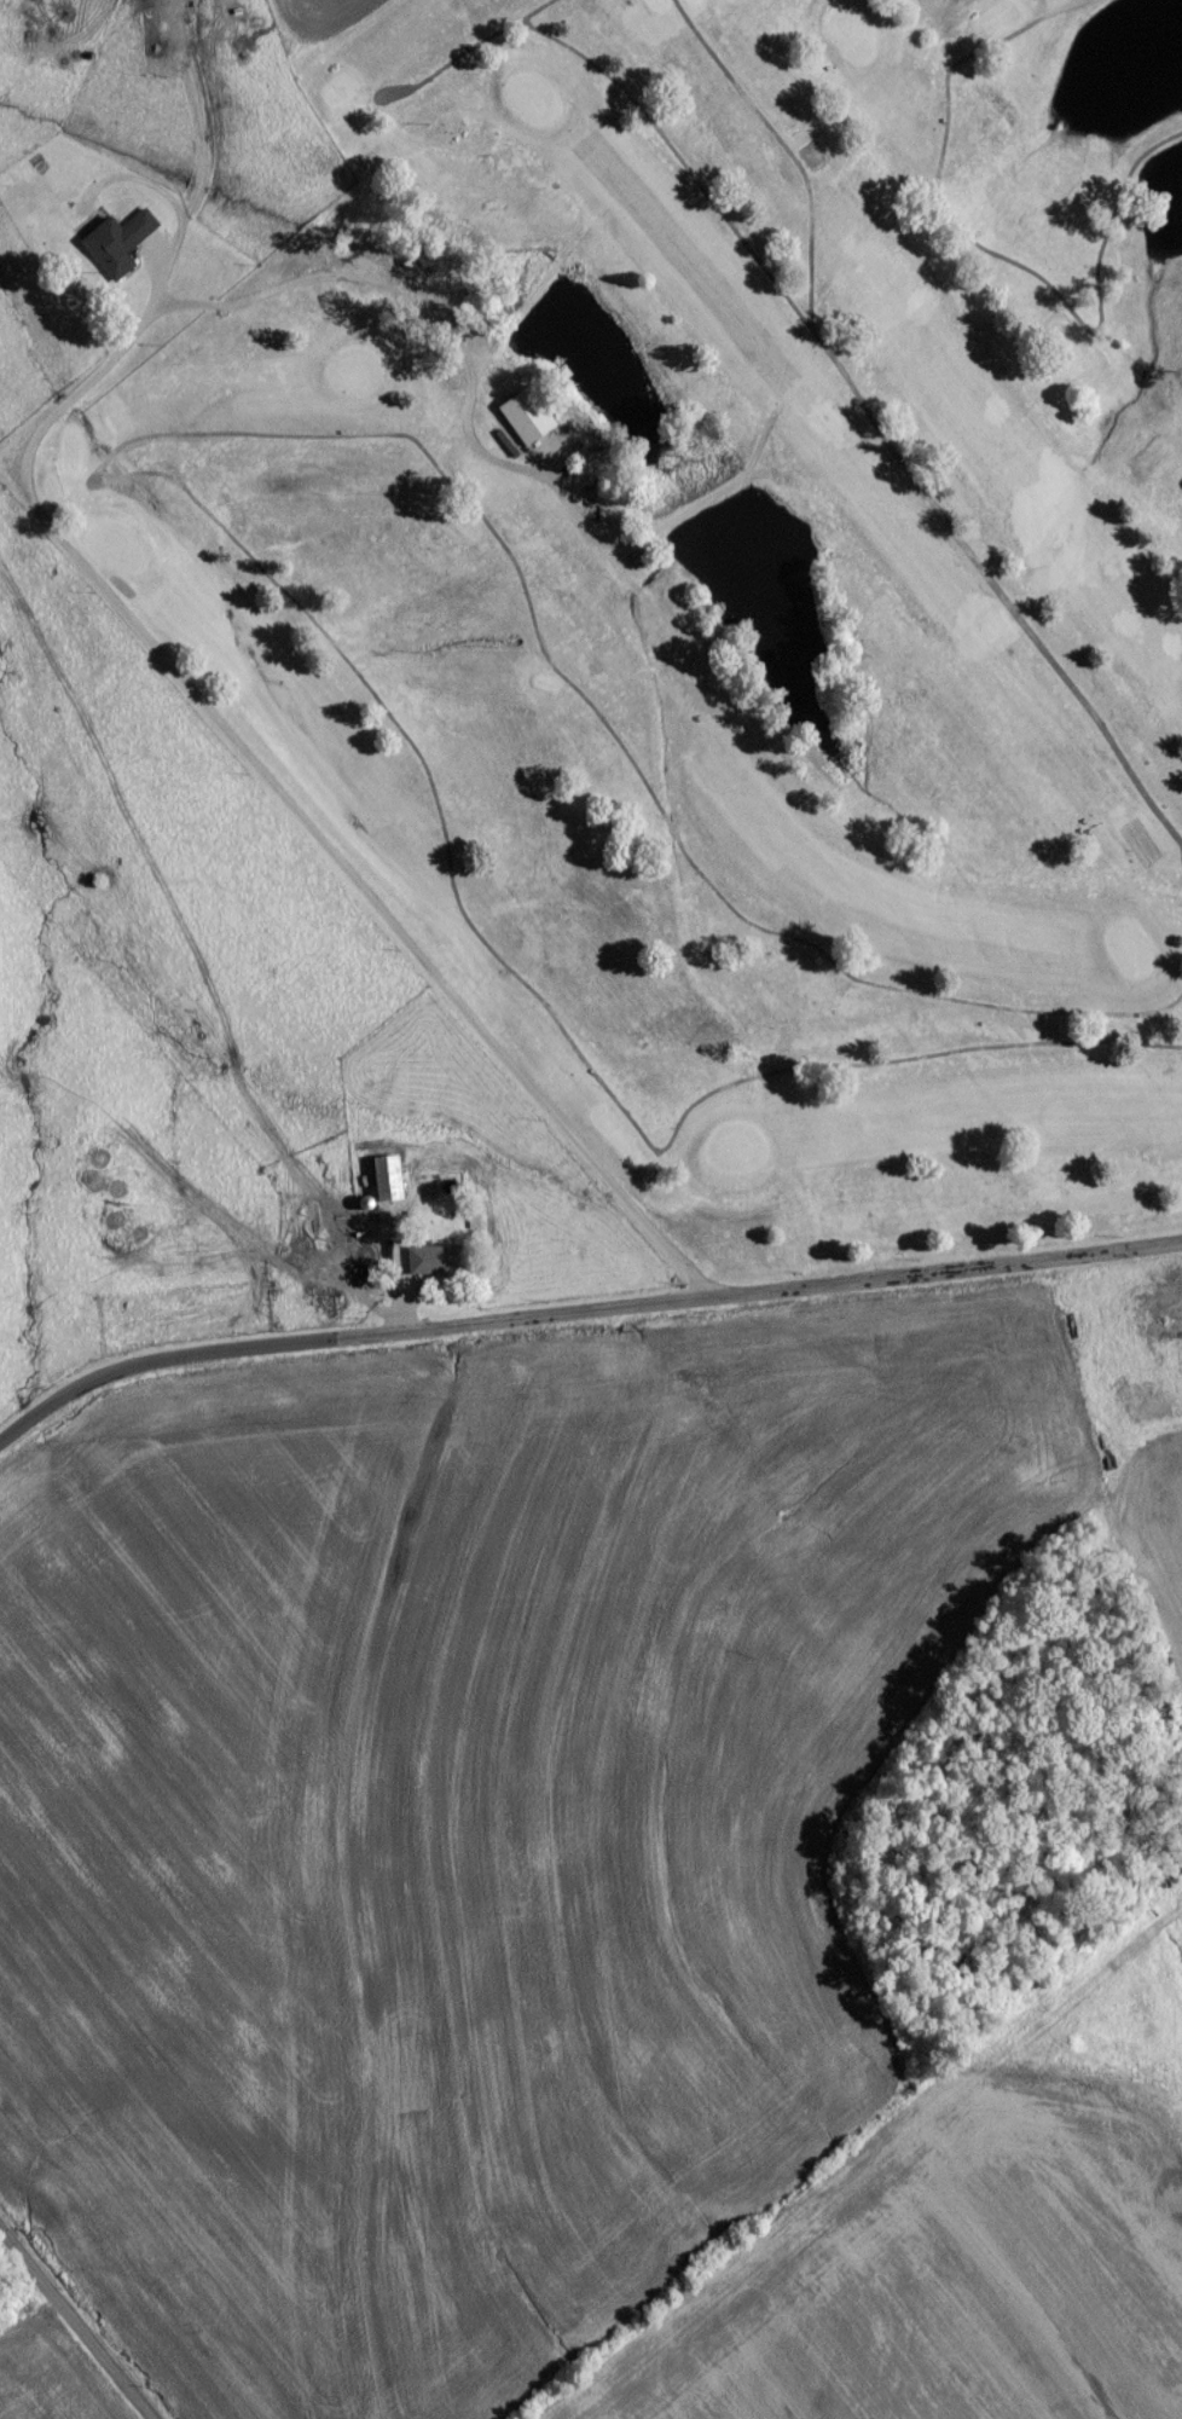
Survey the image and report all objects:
building: (137, 1)
road: (489, 42)
road: (377, 104)
road: (202, 151)
road: (782, 152)
building: (115, 249)
road: (984, 257)
building: (521, 422)
road: (867, 423)
park: (664, 585)
road: (647, 793)
road: (282, 810)
road: (1181, 866)
road: (494, 961)
building: (558, 967)
building: (384, 1185)
building: (358, 1210)
building: (434, 1265)
road: (579, 1319)
road: (73, 2328)

